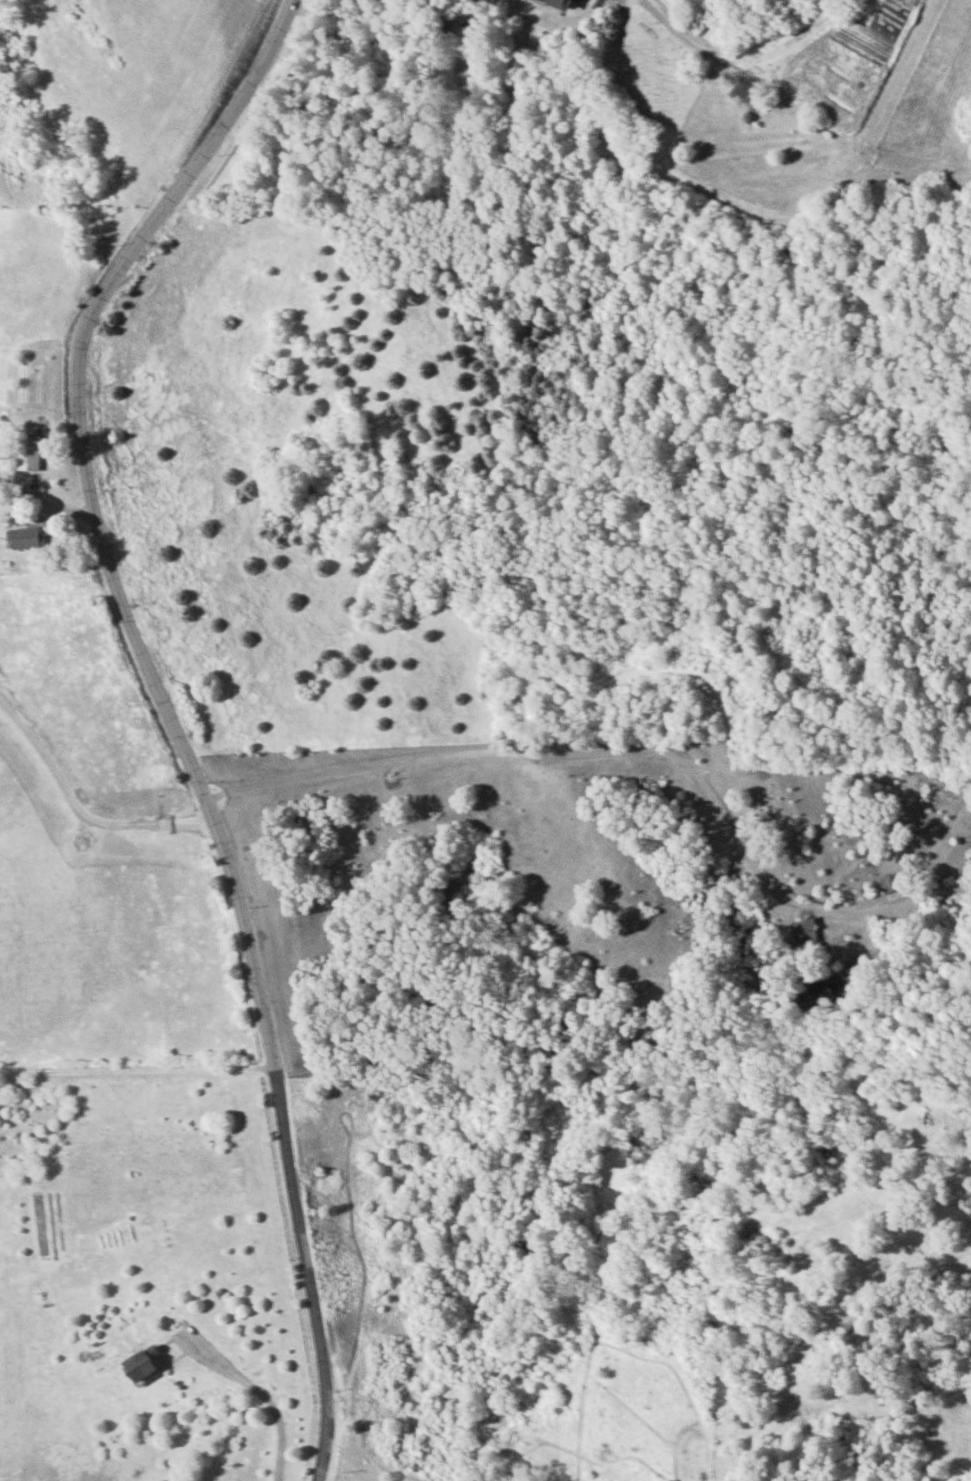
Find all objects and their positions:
road: (695, 42)
road: (427, 190)
building: (27, 457)
building: (24, 536)
road: (164, 713)
road: (615, 752)
road: (79, 813)
building: (889, 883)
building: (803, 931)
road: (136, 1072)
building: (143, 1363)
road: (256, 1392)

